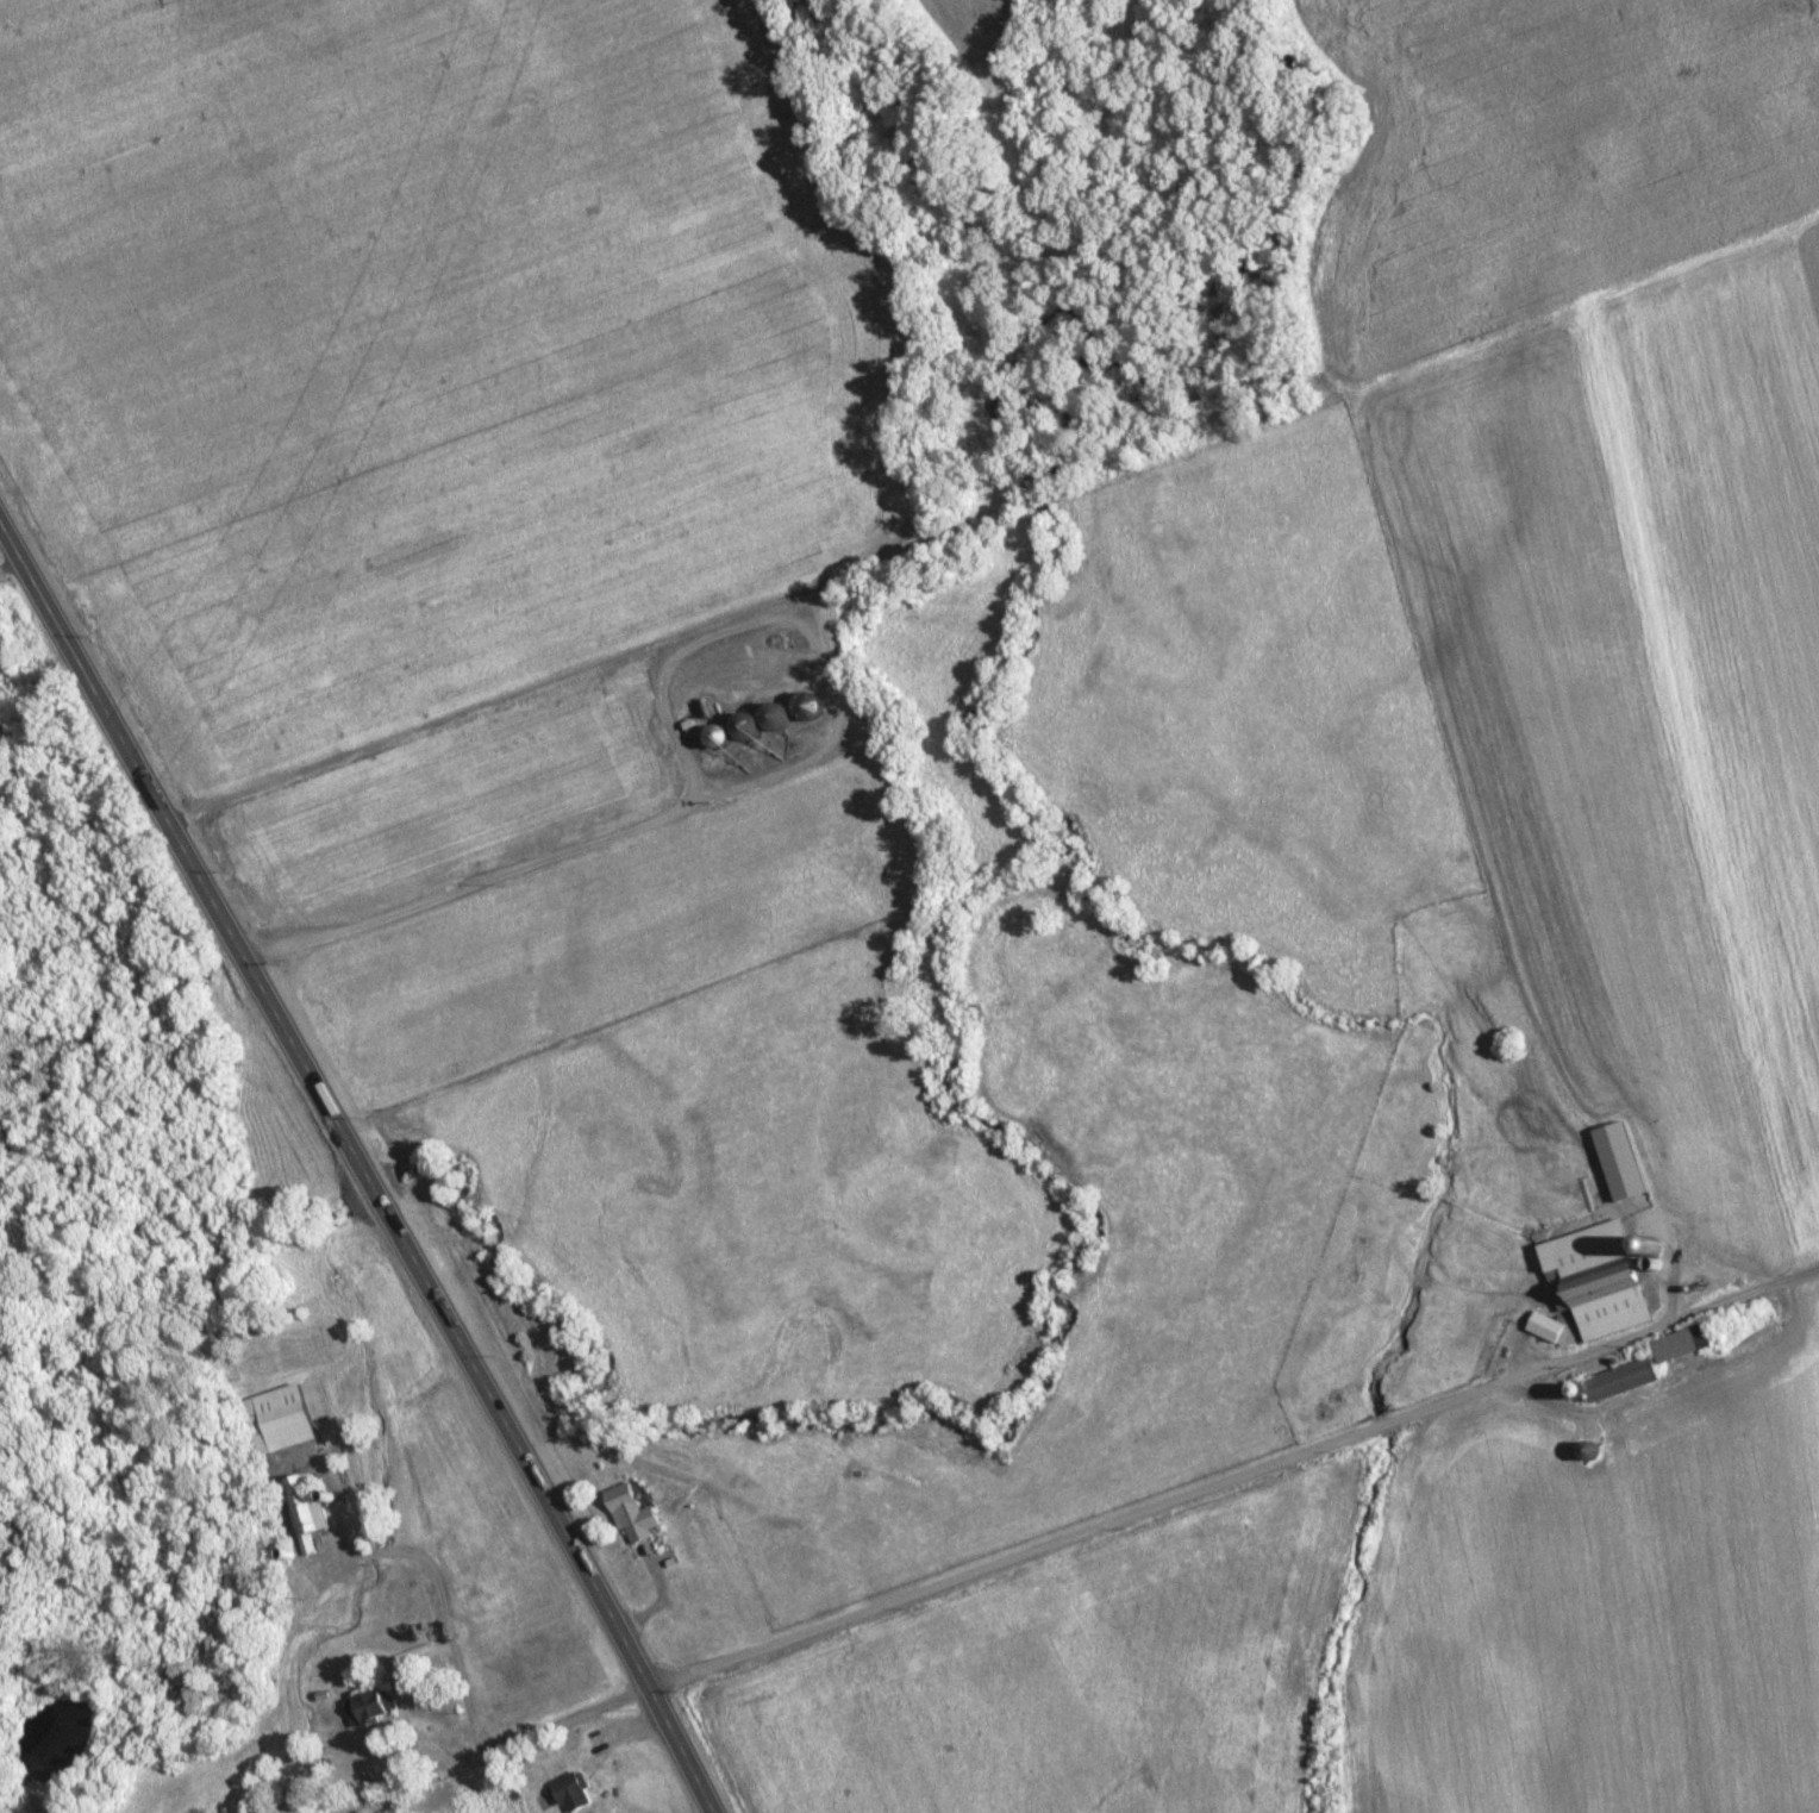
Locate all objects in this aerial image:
road: (361, 1167)
building: (1602, 1280)
building: (1686, 1344)
building: (1621, 1381)
building: (281, 1420)
road: (1234, 1476)
building: (306, 1509)
building: (636, 1514)
road: (461, 1687)
building: (370, 1708)
building: (574, 1794)

